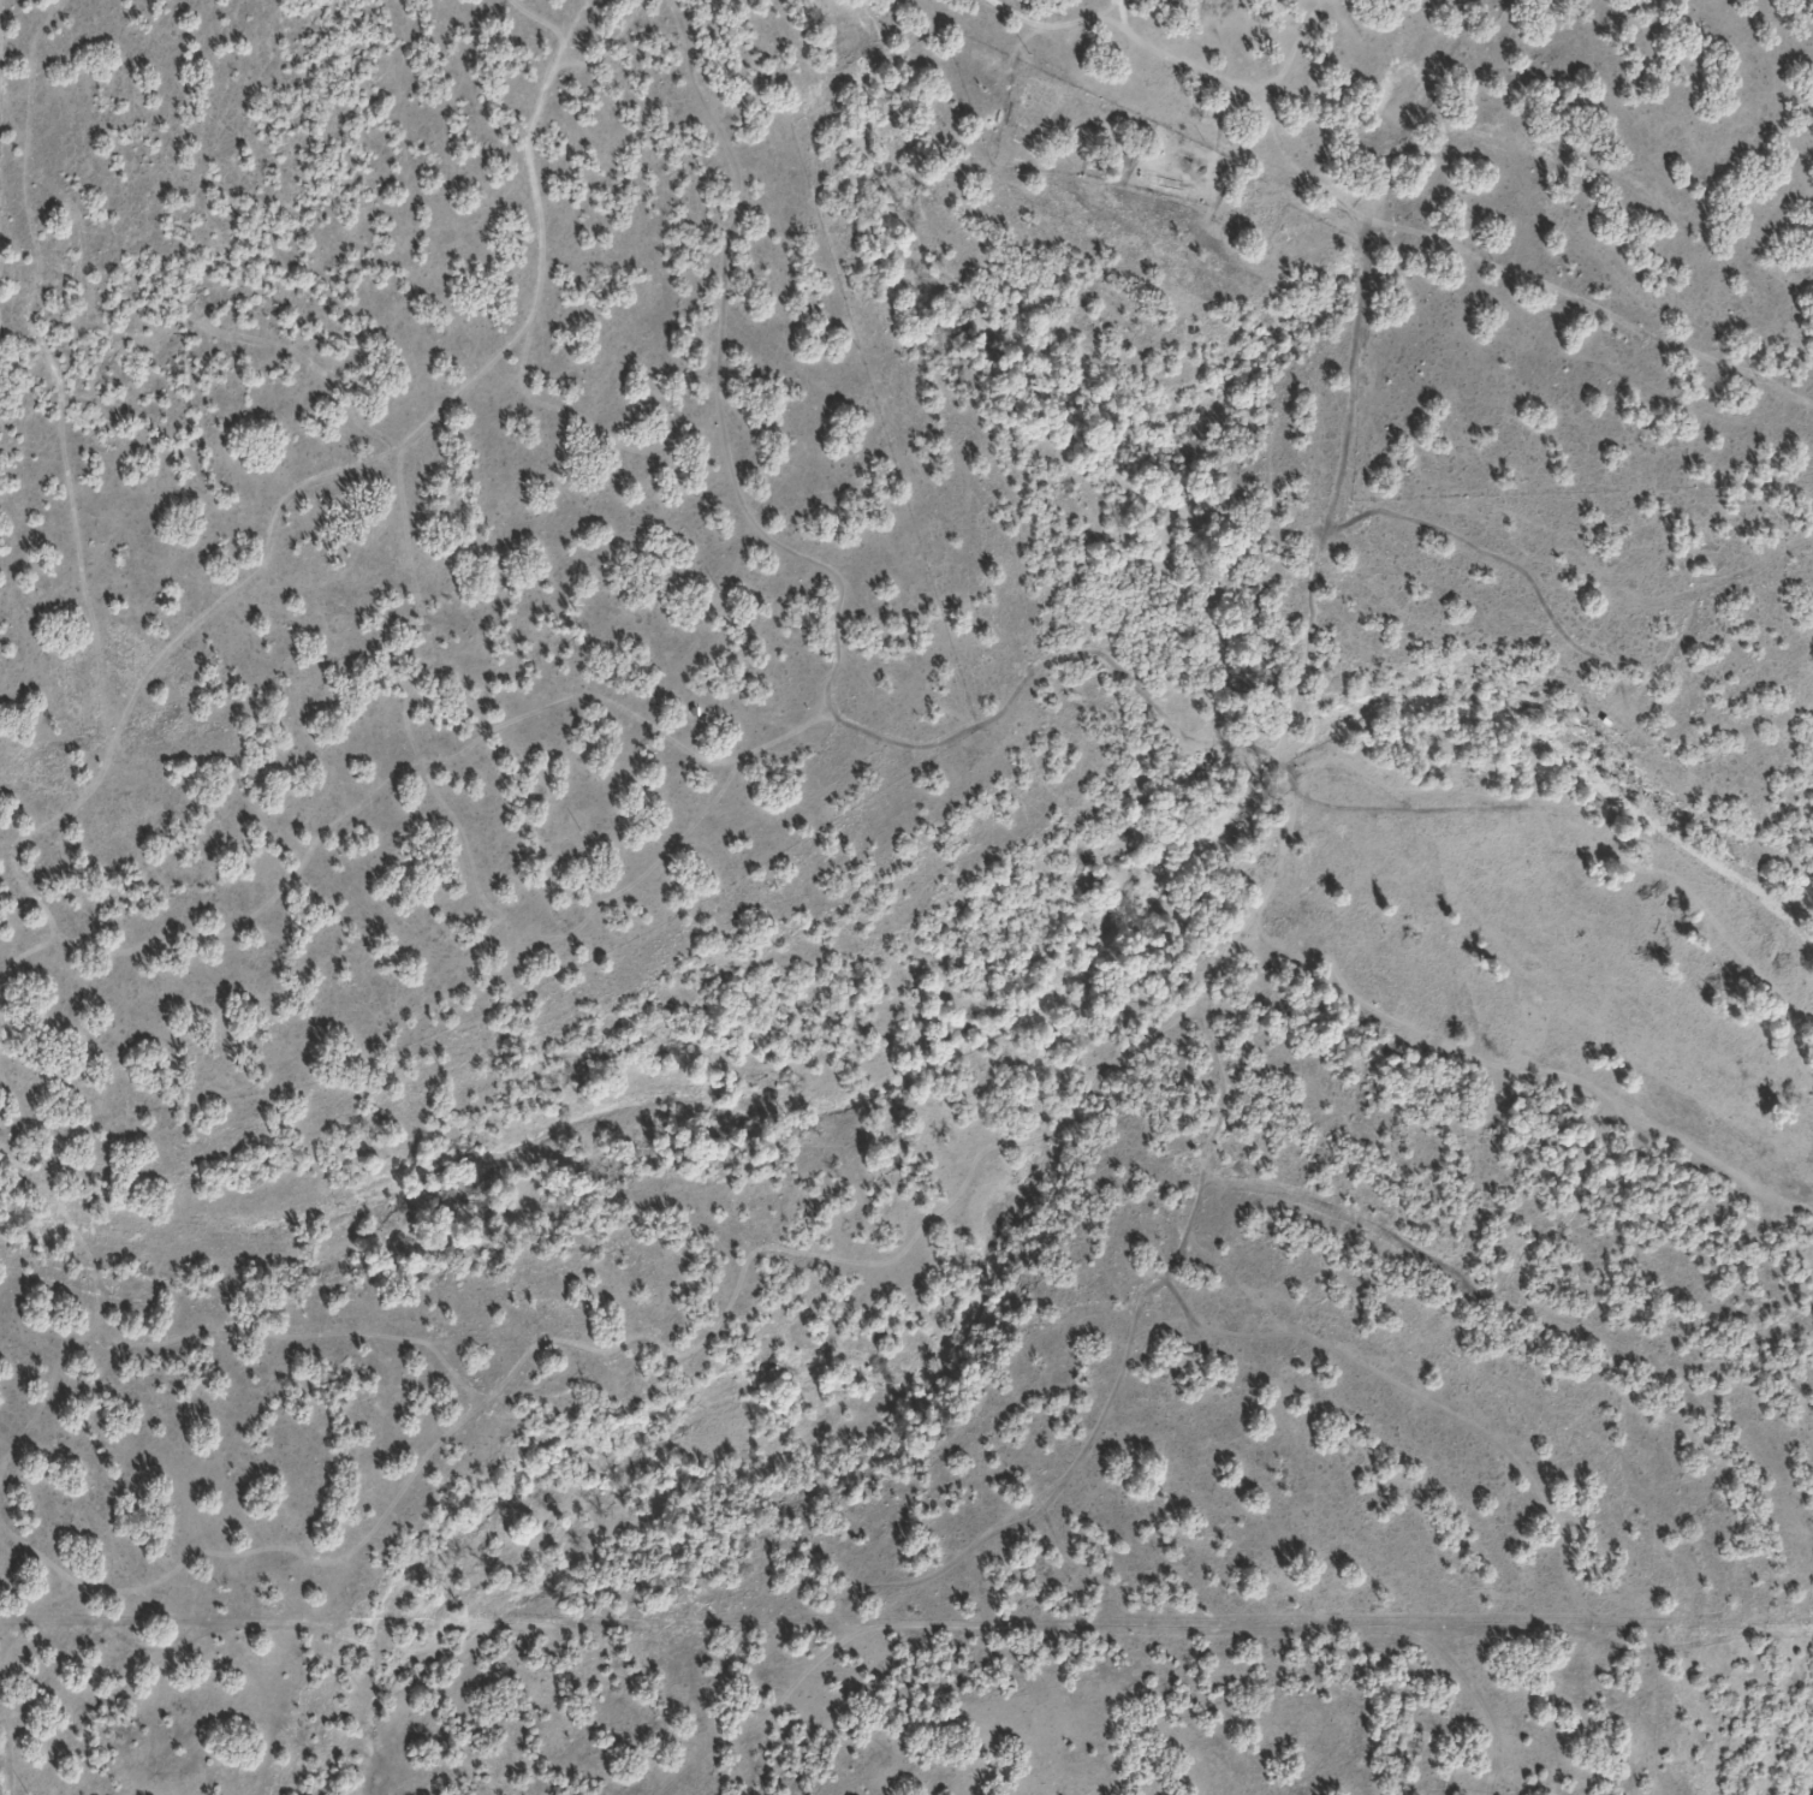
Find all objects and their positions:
road: (1440, 161)
road: (351, 466)

